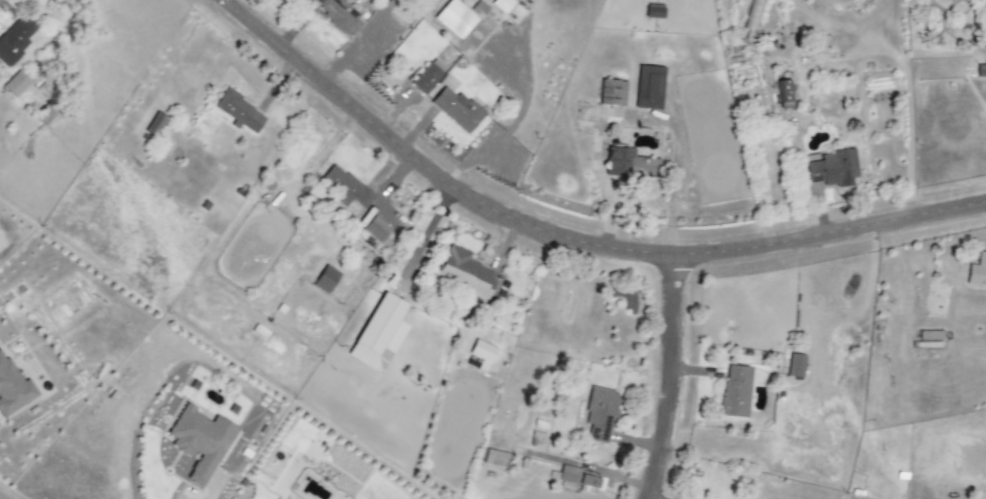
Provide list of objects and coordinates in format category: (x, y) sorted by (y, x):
building: (501, 5)
building: (337, 12)
building: (752, 13)
building: (454, 18)
building: (15, 40)
building: (981, 71)
building: (428, 77)
building: (16, 84)
building: (649, 87)
building: (783, 92)
building: (612, 93)
building: (457, 109)
building: (238, 112)
road: (634, 114)
building: (629, 163)
building: (832, 169)
building: (347, 187)
building: (375, 229)
road: (566, 239)
building: (977, 271)
building: (464, 272)
building: (325, 279)
building: (376, 333)
building: (482, 354)
building: (795, 365)
road: (671, 377)
building: (12, 388)
building: (735, 391)
building: (600, 413)
building: (200, 441)
building: (495, 458)
building: (582, 479)
road: (211, 491)

